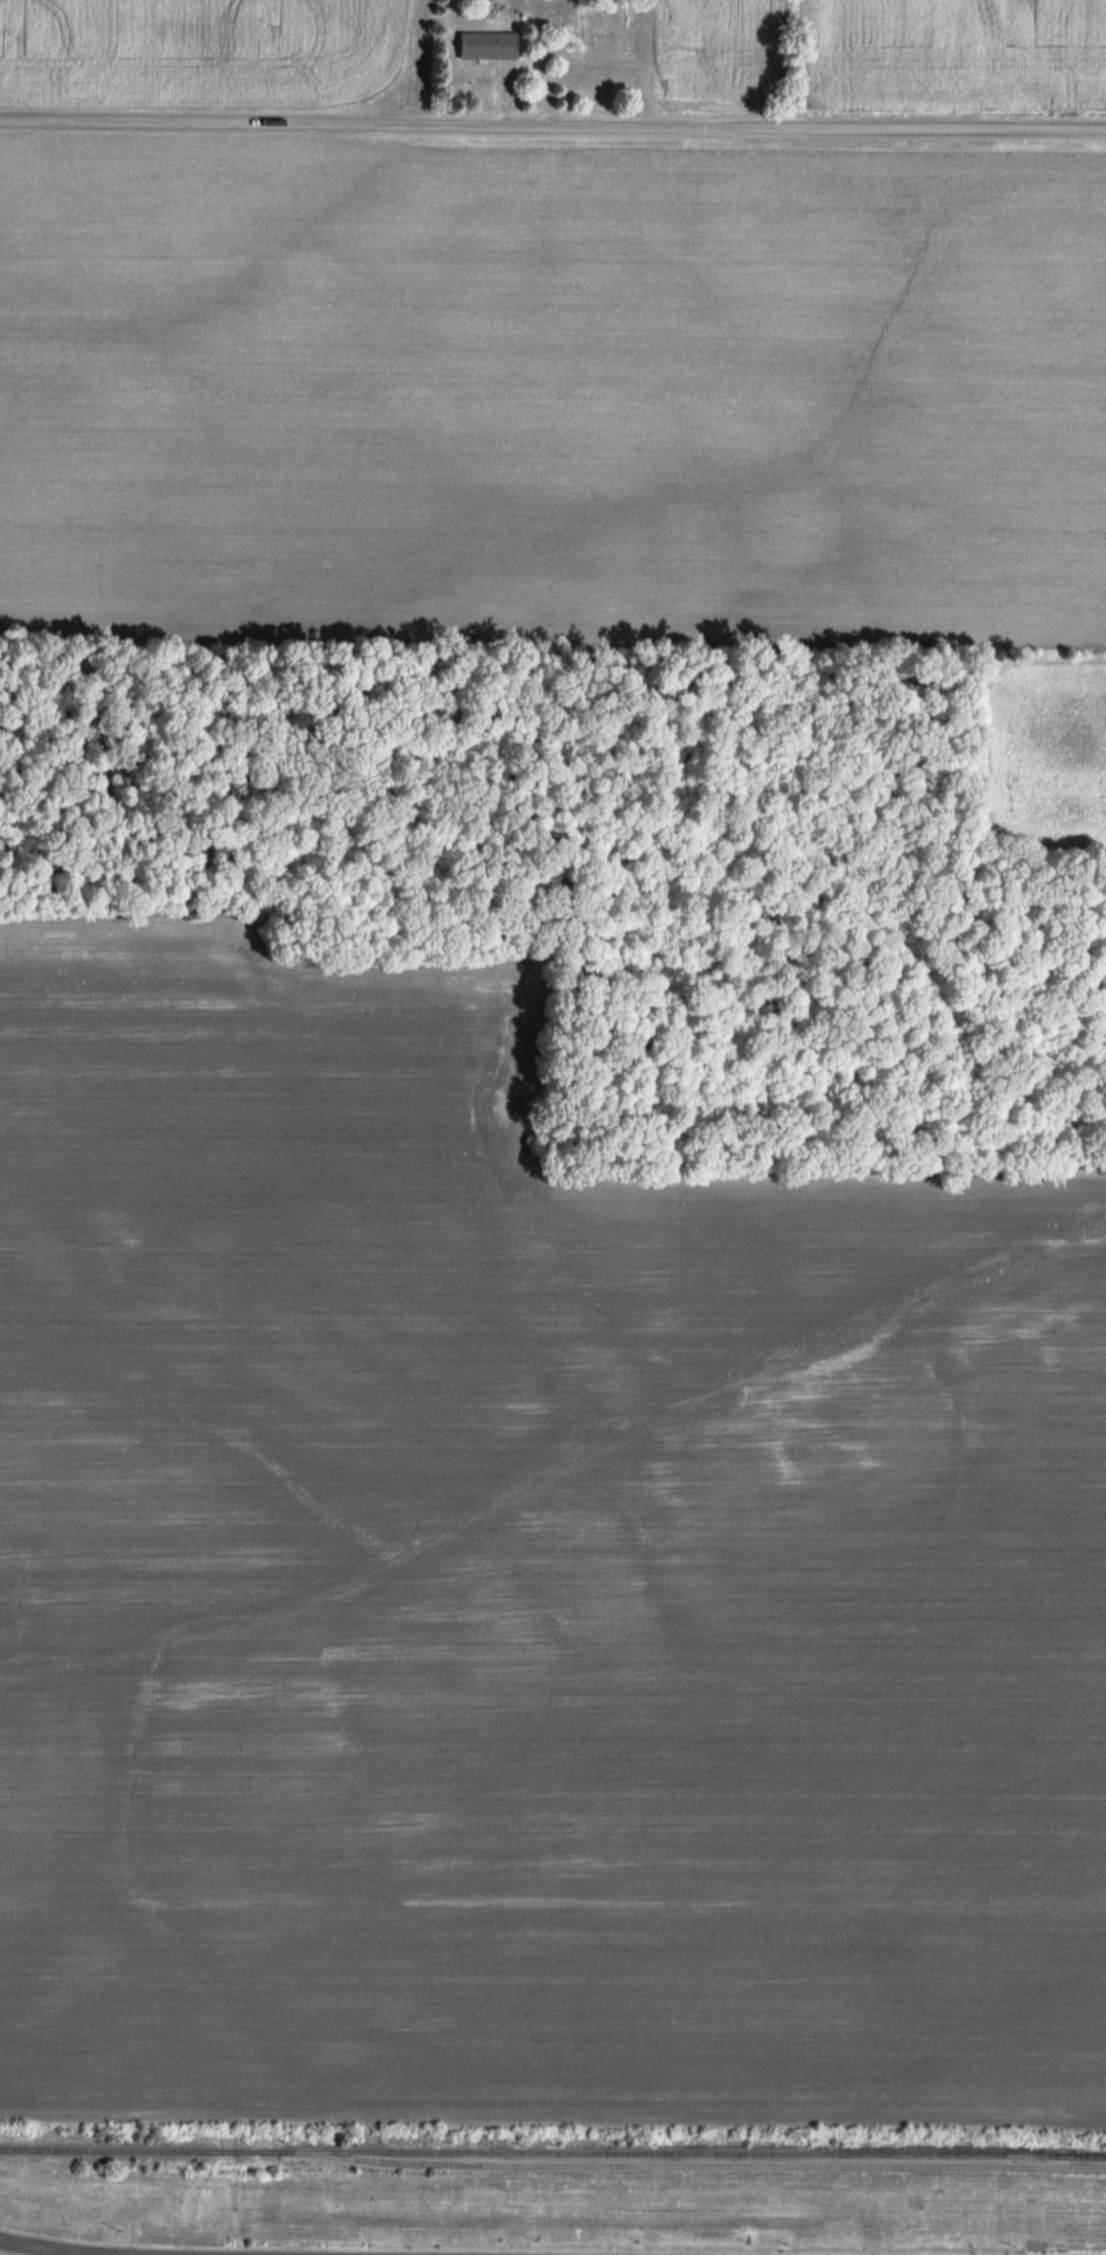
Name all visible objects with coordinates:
building: (484, 45)
road: (553, 124)
railway: (553, 2152)
railway: (700, 2165)
road: (48, 2248)

